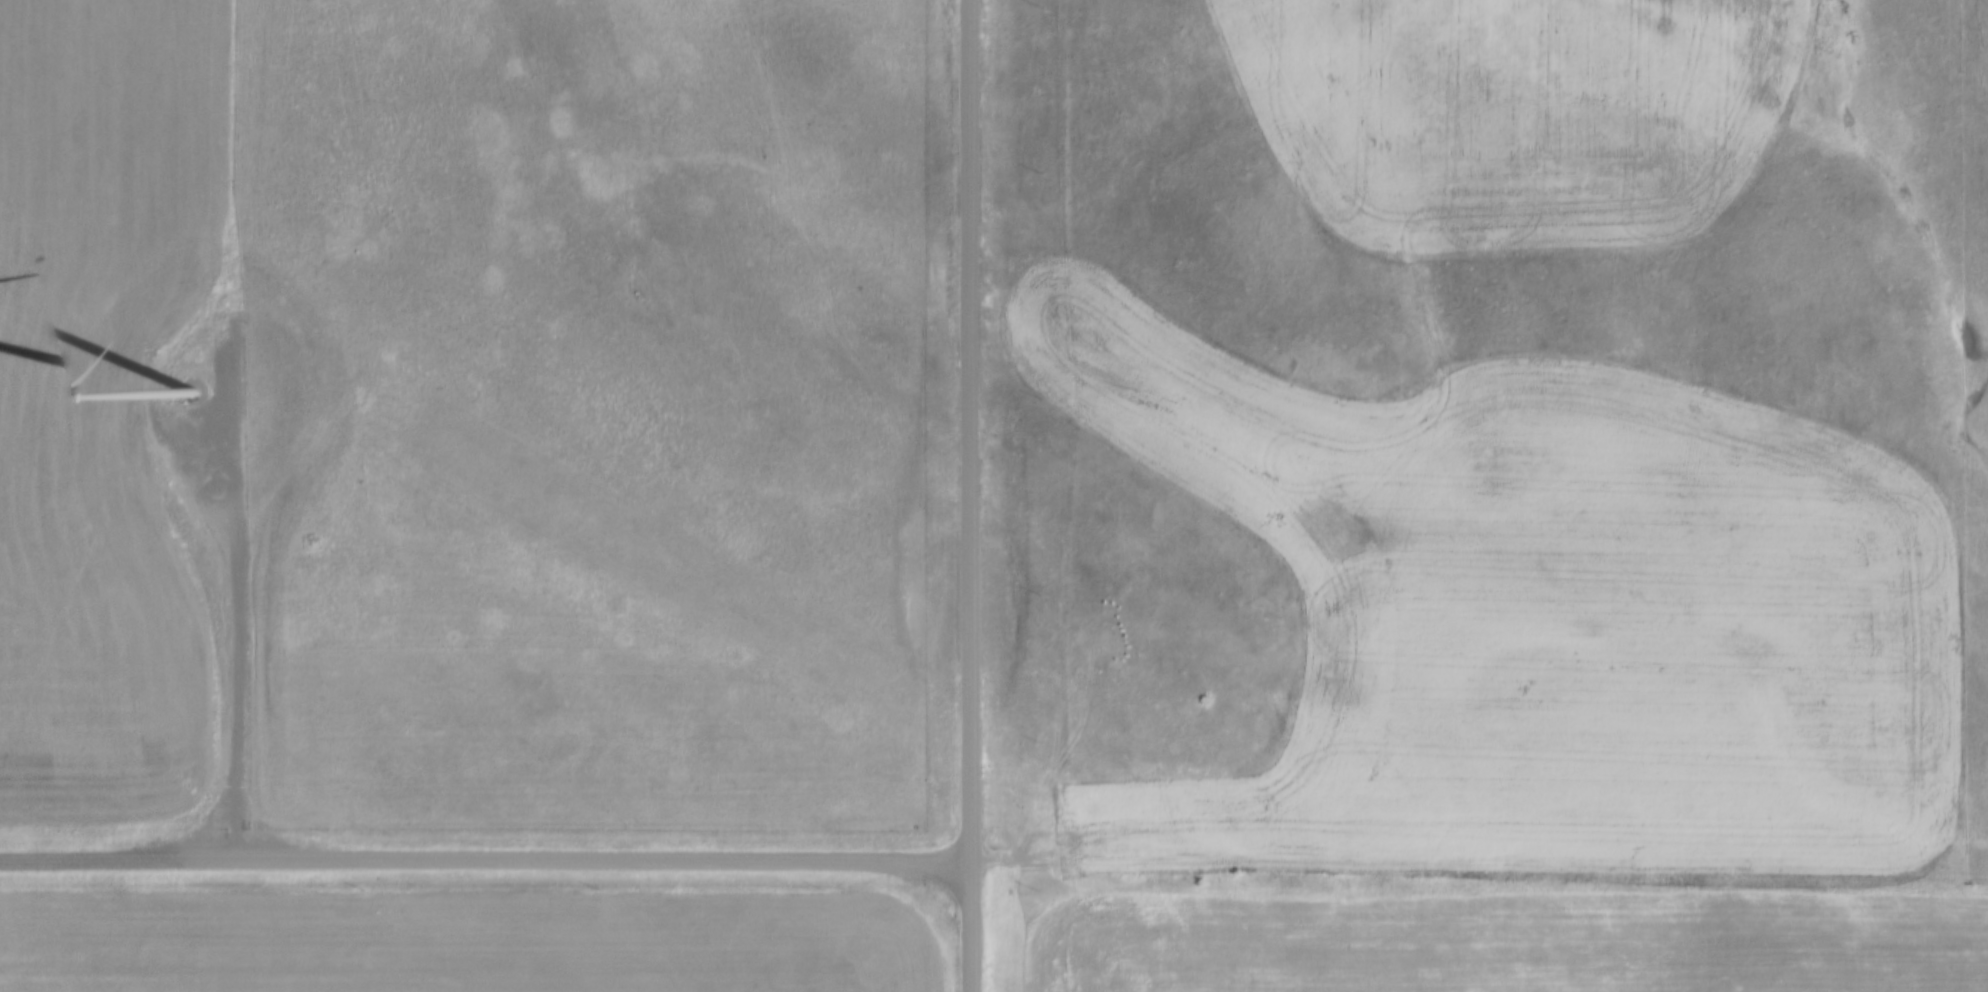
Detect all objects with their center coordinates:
wind turbine: (178, 395)
road: (970, 496)
road: (486, 861)

